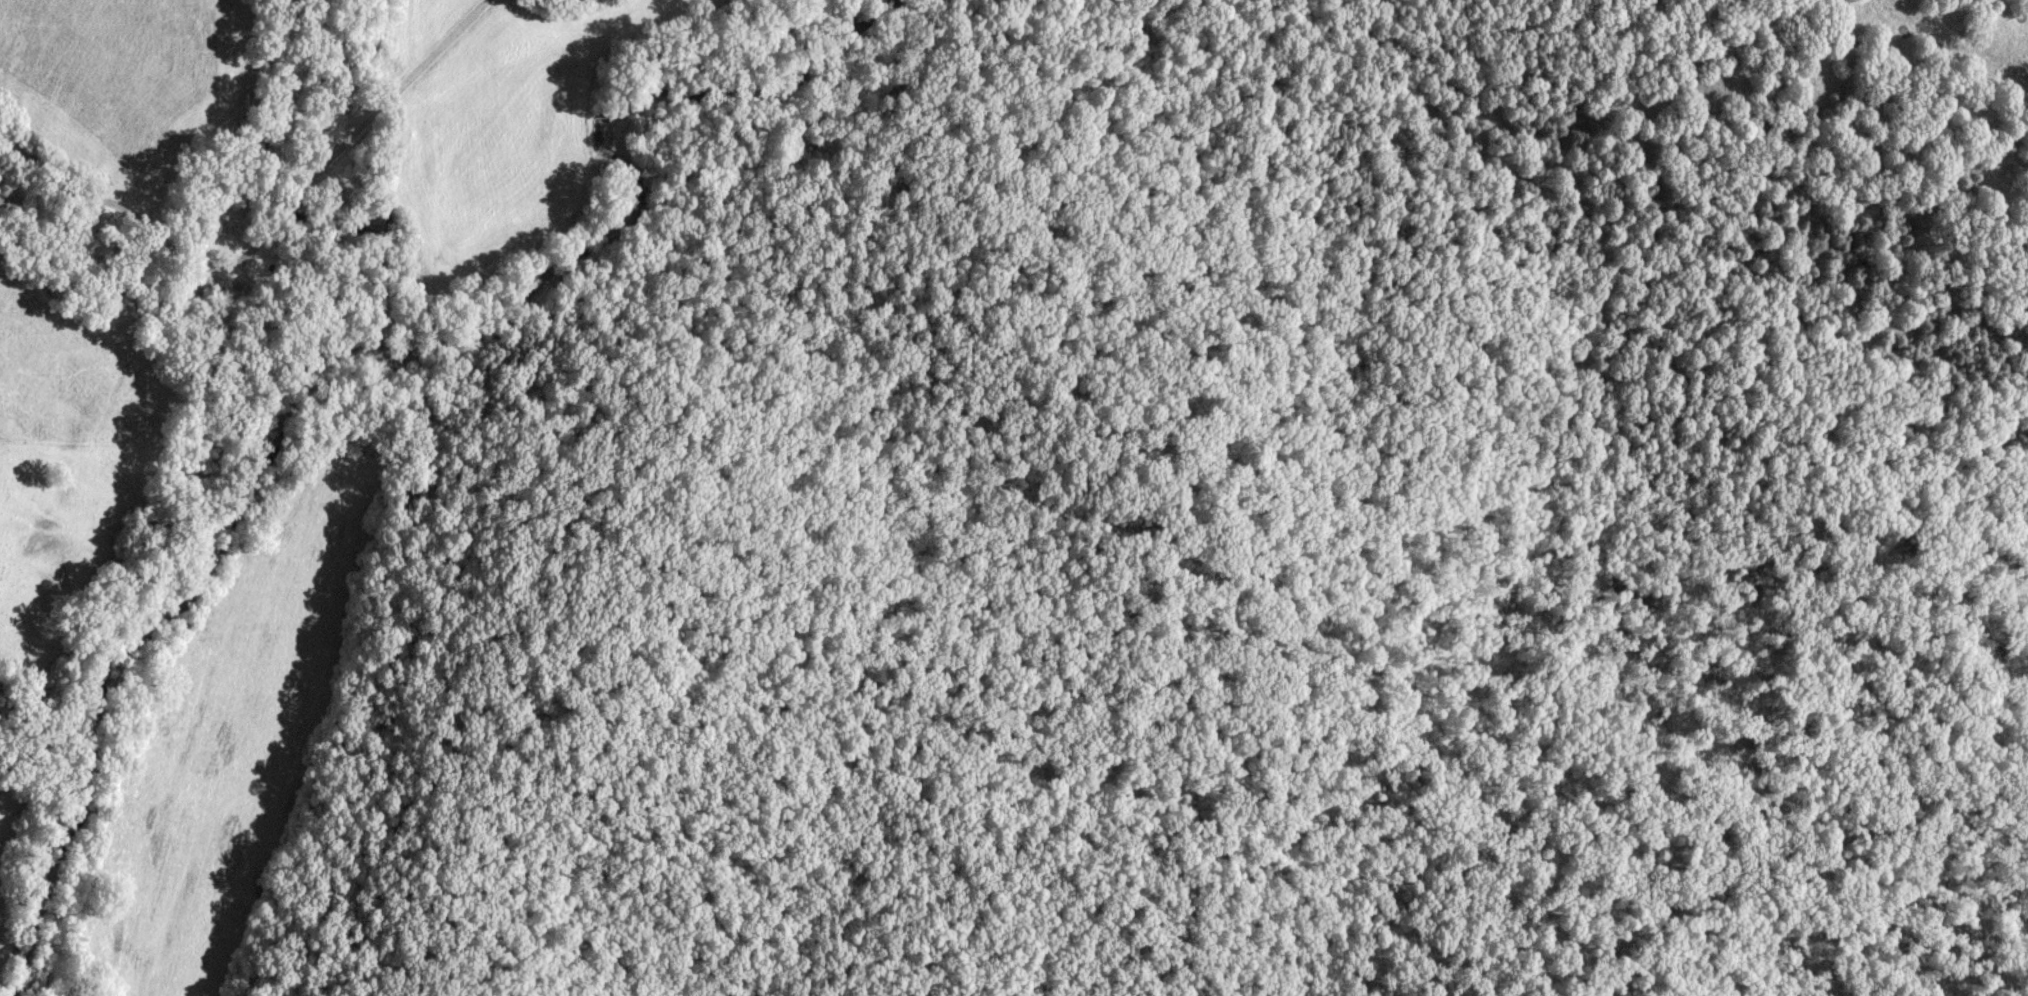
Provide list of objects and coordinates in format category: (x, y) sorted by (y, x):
road: (273, 224)

